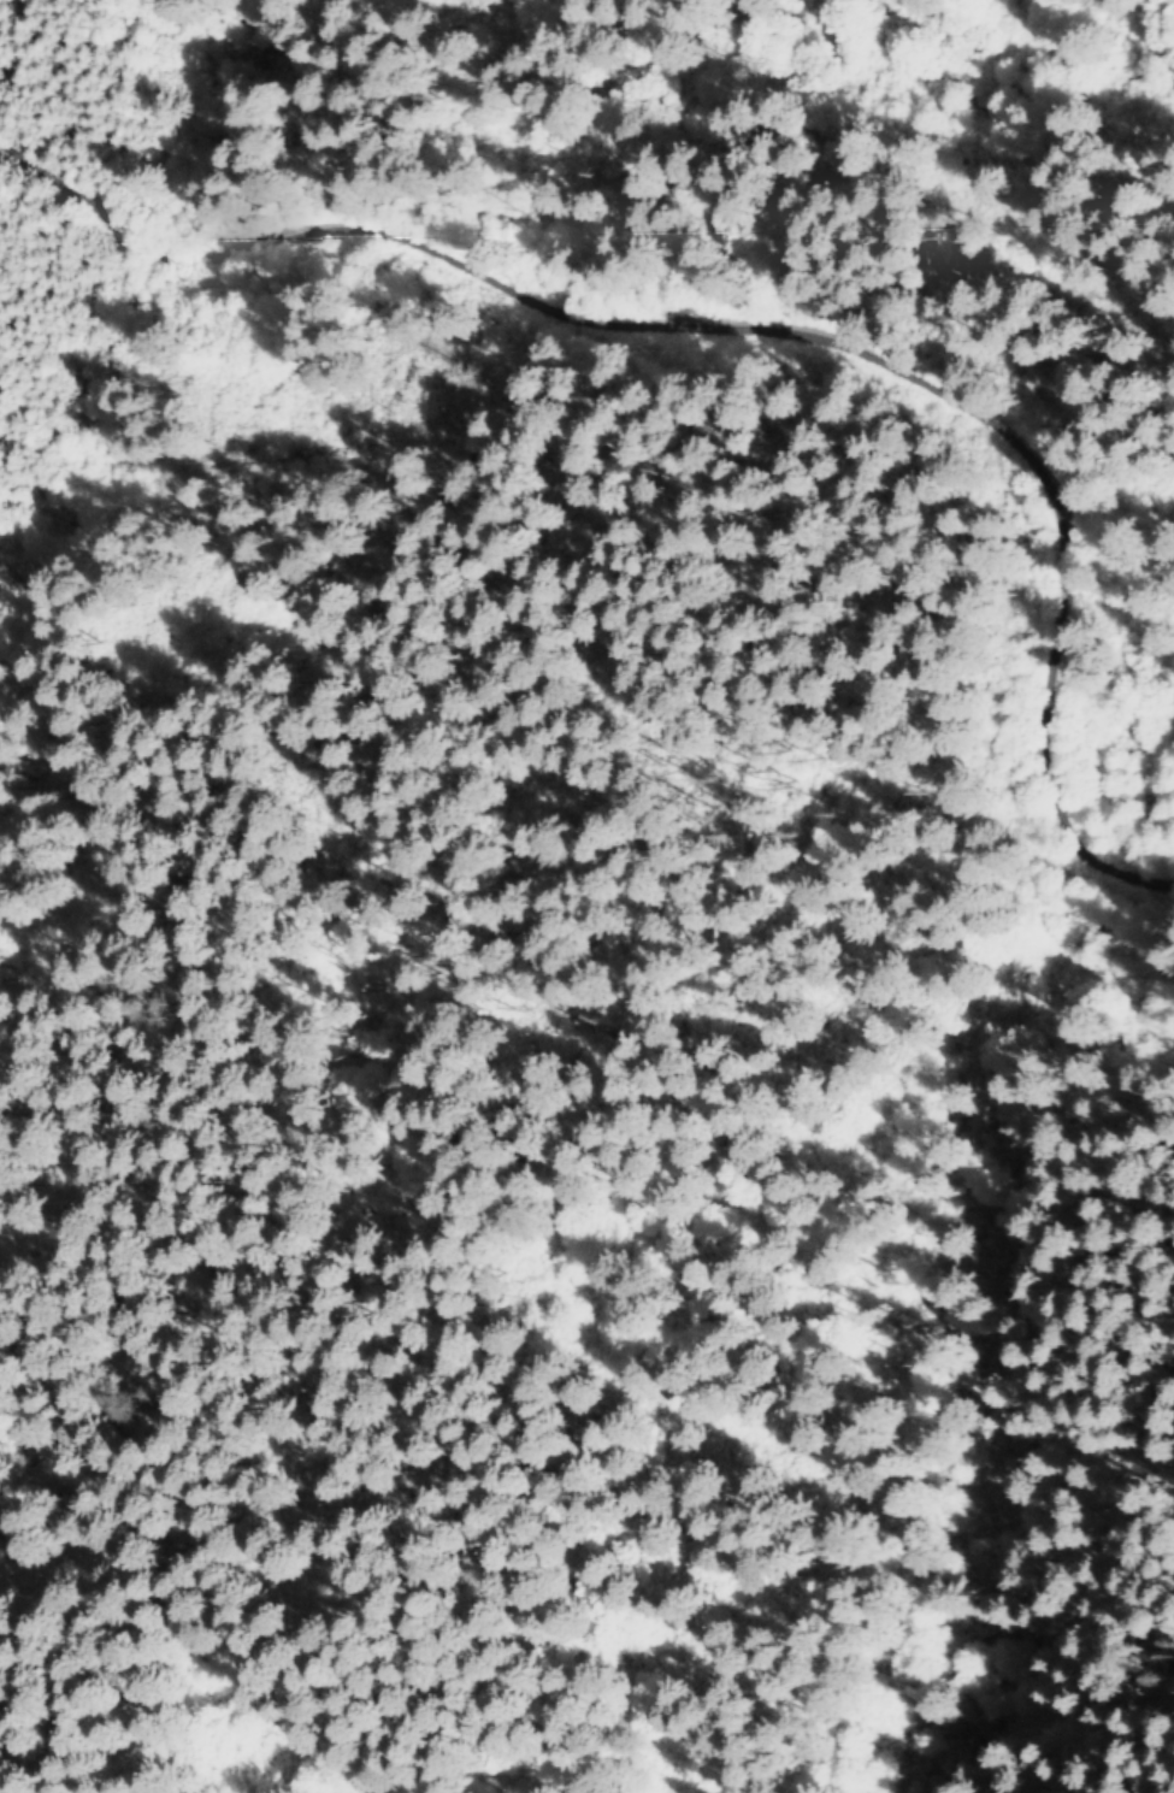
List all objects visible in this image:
road: (738, 390)

